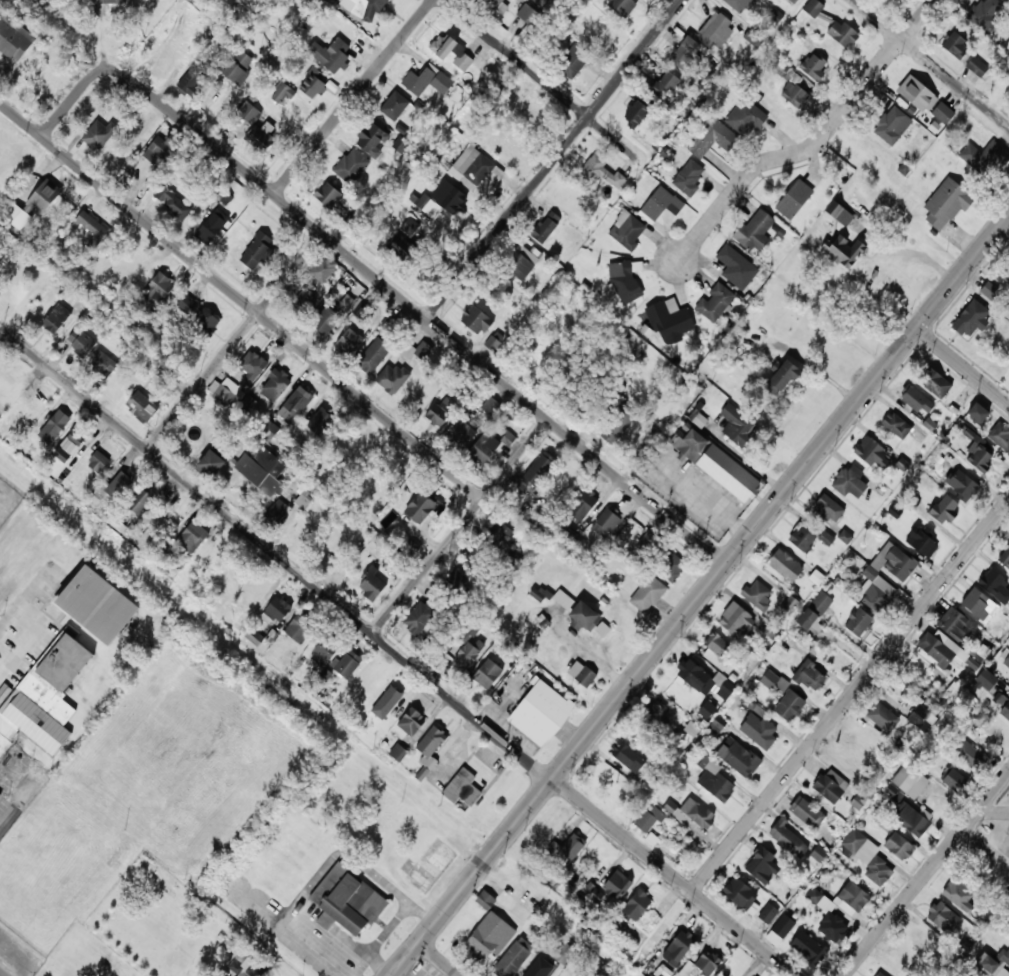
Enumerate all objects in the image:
building: (1007, 0)
building: (110, 1)
building: (540, 1)
building: (794, 1)
building: (739, 5)
building: (497, 6)
building: (622, 6)
building: (813, 7)
building: (365, 8)
building: (527, 13)
building: (986, 13)
building: (775, 16)
building: (716, 31)
building: (842, 33)
building: (13, 37)
building: (955, 44)
road: (501, 45)
building: (452, 52)
building: (330, 53)
building: (686, 54)
building: (574, 60)
road: (932, 62)
building: (813, 66)
building: (977, 66)
building: (238, 67)
building: (190, 81)
building: (427, 81)
building: (313, 82)
building: (665, 84)
building: (792, 84)
building: (282, 92)
building: (917, 94)
road: (354, 97)
building: (394, 105)
building: (249, 112)
building: (943, 112)
building: (636, 113)
building: (745, 118)
building: (892, 125)
building: (99, 135)
building: (261, 137)
building: (712, 138)
building: (372, 140)
road: (814, 143)
building: (161, 149)
road: (554, 159)
building: (984, 159)
building: (472, 166)
building: (351, 167)
building: (600, 173)
building: (688, 177)
building: (327, 196)
building: (225, 197)
building: (43, 198)
building: (443, 199)
building: (793, 200)
building: (566, 202)
building: (175, 203)
building: (660, 204)
building: (944, 206)
building: (17, 216)
building: (545, 227)
building: (93, 229)
building: (211, 229)
building: (414, 231)
building: (626, 231)
building: (754, 232)
building: (399, 244)
building: (255, 251)
building: (844, 252)
building: (1, 253)
building: (415, 254)
building: (519, 263)
building: (322, 268)
building: (736, 268)
road: (381, 282)
building: (624, 283)
building: (161, 287)
building: (990, 290)
road: (241, 300)
building: (775, 300)
building: (347, 303)
building: (715, 303)
building: (301, 304)
building: (198, 314)
building: (363, 314)
building: (56, 318)
building: (969, 320)
building: (324, 321)
building: (474, 321)
building: (669, 322)
traffic signals: (917, 329)
building: (350, 335)
building: (80, 341)
road: (234, 343)
building: (492, 343)
building: (372, 356)
building: (103, 364)
building: (403, 365)
road: (963, 366)
building: (249, 368)
building: (779, 378)
building: (933, 383)
building: (274, 385)
building: (226, 392)
building: (915, 400)
building: (295, 404)
building: (143, 407)
building: (490, 407)
building: (440, 413)
building: (977, 414)
building: (698, 419)
building: (320, 423)
building: (736, 424)
building: (54, 426)
building: (895, 426)
building: (615, 427)
building: (267, 429)
building: (460, 433)
building: (1000, 435)
building: (507, 438)
building: (68, 448)
building: (482, 449)
building: (870, 454)
building: (977, 458)
building: (214, 459)
building: (98, 462)
building: (713, 464)
building: (261, 471)
building: (533, 473)
building: (847, 484)
building: (120, 485)
building: (961, 485)
building: (303, 500)
building: (140, 501)
building: (582, 505)
building: (420, 508)
building: (829, 508)
building: (894, 511)
building: (276, 516)
building: (606, 521)
road: (459, 527)
building: (495, 535)
building: (191, 538)
building: (801, 538)
building: (826, 538)
building: (512, 540)
building: (921, 541)
building: (507, 554)
building: (475, 556)
building: (401, 558)
building: (1005, 560)
building: (893, 562)
building: (668, 566)
building: (783, 566)
road: (714, 579)
building: (456, 580)
building: (995, 585)
building: (370, 586)
building: (540, 595)
building: (645, 595)
building: (757, 595)
building: (874, 599)
building: (789, 604)
building: (979, 604)
building: (93, 605)
building: (276, 611)
building: (814, 611)
building: (418, 618)
building: (581, 618)
building: (735, 621)
building: (857, 623)
building: (955, 625)
building: (299, 628)
building: (602, 629)
building: (770, 631)
building: (254, 636)
building: (324, 650)
building: (467, 650)
building: (937, 650)
building: (716, 652)
road: (394, 656)
building: (1004, 657)
building: (346, 665)
building: (486, 675)
building: (691, 676)
building: (584, 677)
building: (809, 678)
building: (986, 680)
building: (775, 681)
building: (45, 695)
road: (849, 696)
building: (388, 703)
building: (788, 707)
building: (707, 709)
building: (1004, 712)
building: (539, 714)
building: (655, 718)
building: (881, 718)
building: (920, 720)
building: (410, 722)
building: (718, 724)
building: (692, 728)
building: (757, 732)
building: (991, 735)
building: (863, 739)
building: (429, 743)
building: (398, 752)
building: (969, 756)
building: (736, 758)
building: (629, 760)
building: (602, 780)
building: (953, 781)
building: (714, 783)
building: (905, 784)
building: (830, 787)
building: (462, 789)
building: (0, 793)
building: (805, 813)
building: (696, 814)
building: (648, 821)
road: (5, 822)
building: (911, 822)
building: (546, 831)
building: (651, 839)
building: (787, 840)
building: (897, 846)
building: (566, 851)
building: (818, 854)
building: (866, 858)
building: (1007, 858)
building: (430, 865)
building: (760, 866)
road: (926, 874)
building: (616, 886)
building: (594, 893)
building: (739, 896)
building: (957, 897)
building: (852, 898)
building: (347, 900)
building: (485, 900)
building: (635, 906)
building: (768, 915)
building: (942, 917)
building: (831, 927)
building: (779, 930)
building: (922, 940)
building: (481, 941)
building: (807, 947)
building: (677, 949)
building: (564, 953)
building: (512, 958)
road: (405, 959)
road: (438, 959)
building: (700, 963)
building: (996, 964)
building: (533, 972)
building: (241, 974)
building: (878, 974)
road: (0, 975)

